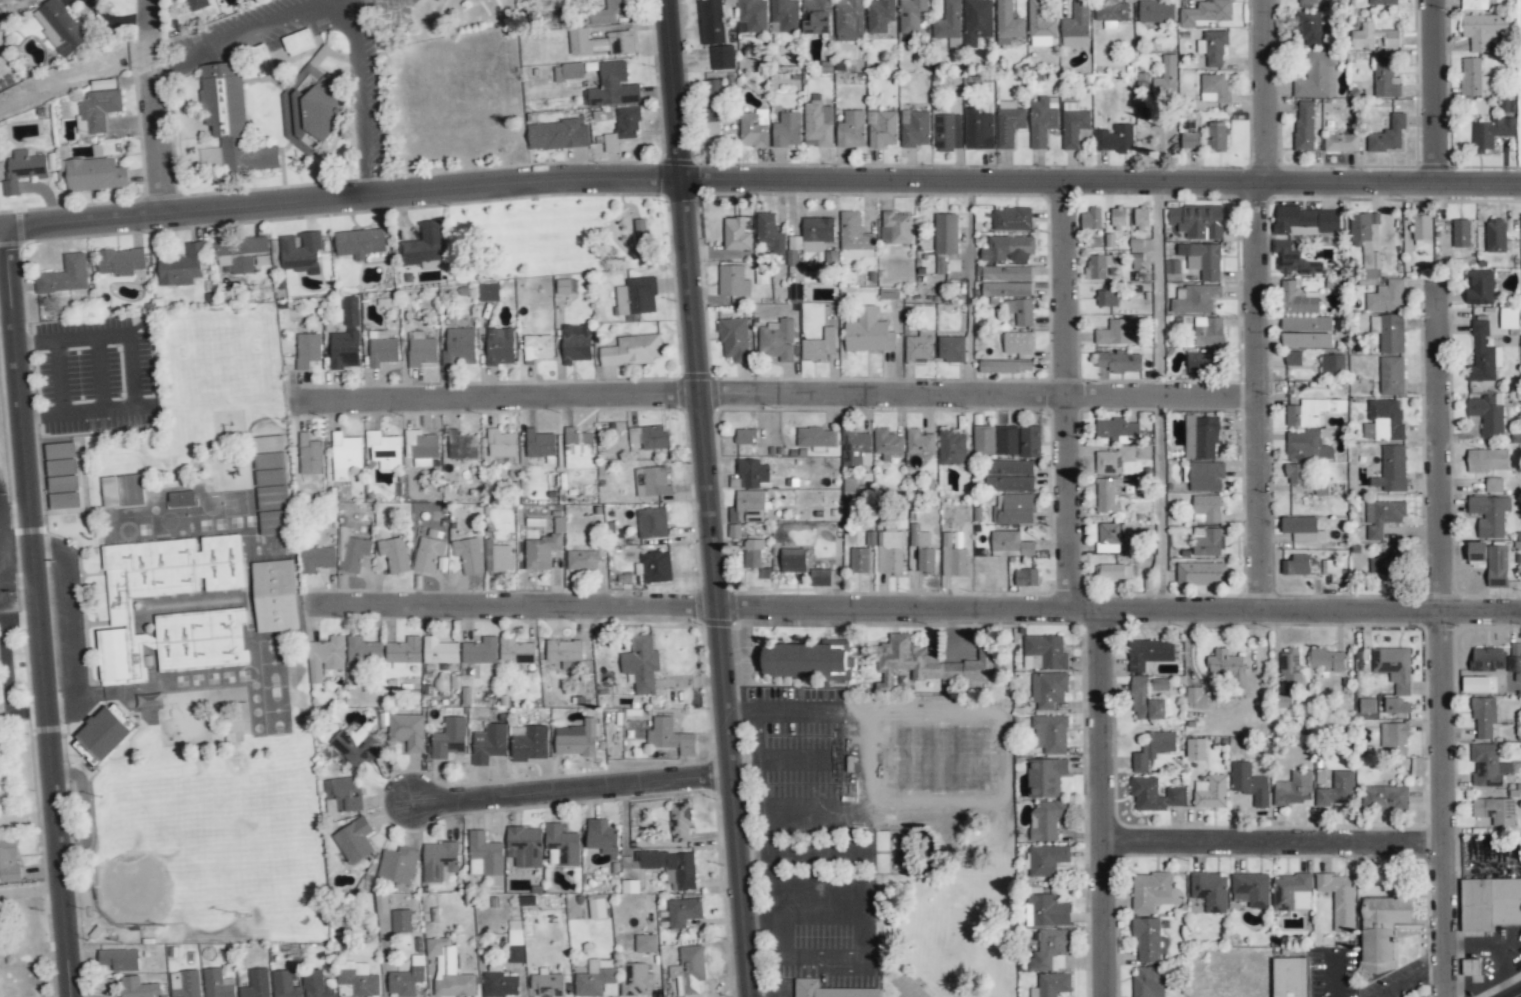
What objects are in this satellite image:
road: (339, 0)
building: (438, 0)
building: (1383, 2)
building: (1306, 3)
building: (197, 4)
building: (1474, 5)
building: (609, 11)
building: (1156, 11)
building: (1110, 12)
building: (1205, 12)
road: (150, 15)
building: (753, 15)
building: (880, 15)
building: (912, 15)
building: (784, 16)
building: (816, 17)
building: (849, 20)
building: (948, 21)
building: (977, 21)
building: (1008, 21)
building: (711, 22)
building: (1040, 25)
building: (1076, 25)
building: (59, 26)
building: (1310, 28)
building: (1483, 30)
building: (1376, 37)
building: (298, 42)
building: (601, 42)
building: (1213, 47)
road: (152, 50)
building: (722, 57)
building: (261, 60)
building: (568, 71)
building: (1317, 76)
building: (1165, 77)
building: (1472, 77)
building: (1385, 78)
building: (612, 87)
building: (1215, 88)
road: (1271, 92)
road: (1440, 93)
building: (312, 106)
building: (712, 106)
building: (98, 109)
building: (231, 119)
building: (1042, 120)
building: (1009, 123)
building: (818, 124)
building: (1073, 124)
building: (1304, 126)
building: (623, 128)
building: (882, 128)
building: (914, 128)
building: (753, 129)
building: (851, 129)
building: (978, 129)
building: (786, 130)
building: (948, 131)
building: (1491, 133)
building: (557, 135)
building: (1388, 135)
building: (1216, 136)
building: (1114, 138)
building: (1189, 140)
road: (161, 141)
building: (1341, 142)
building: (23, 169)
building: (95, 174)
road: (759, 182)
building: (1140, 218)
building: (1012, 219)
building: (1090, 219)
building: (1118, 219)
building: (1197, 221)
building: (1305, 221)
building: (639, 225)
building: (895, 228)
building: (1421, 228)
building: (768, 233)
building: (816, 233)
building: (1461, 233)
building: (735, 234)
building: (1496, 235)
building: (854, 237)
building: (946, 238)
building: (1365, 241)
building: (359, 242)
building: (794, 243)
building: (422, 246)
building: (1008, 249)
building: (300, 252)
building: (239, 253)
building: (1202, 259)
building: (1292, 260)
building: (120, 261)
building: (182, 266)
building: (1096, 266)
building: (1171, 266)
building: (1006, 273)
building: (65, 275)
building: (733, 281)
building: (567, 286)
building: (1480, 287)
building: (1005, 289)
building: (488, 292)
building: (636, 296)
building: (1106, 296)
building: (1386, 297)
building: (1194, 299)
building: (1297, 300)
building: (1509, 318)
building: (1208, 331)
building: (868, 332)
building: (1116, 332)
building: (1306, 332)
building: (1388, 332)
building: (346, 338)
building: (733, 339)
building: (776, 340)
building: (1017, 342)
building: (576, 343)
building: (819, 345)
building: (499, 346)
building: (459, 347)
building: (537, 347)
building: (918, 347)
building: (382, 348)
building: (307, 349)
building: (951, 349)
building: (632, 350)
building: (421, 351)
building: (1482, 354)
building: (1293, 358)
building: (1119, 361)
building: (1203, 361)
building: (1332, 365)
building: (999, 367)
road: (130, 371)
building: (1391, 376)
road: (55, 377)
road: (773, 395)
road: (1066, 396)
road: (1159, 396)
road: (1257, 397)
building: (1310, 412)
building: (1487, 414)
building: (1383, 420)
building: (1117, 430)
building: (744, 436)
building: (649, 437)
building: (1201, 437)
building: (815, 438)
building: (983, 440)
building: (1006, 440)
building: (919, 442)
building: (1030, 442)
building: (501, 443)
building: (539, 443)
building: (887, 444)
building: (461, 445)
building: (1306, 445)
building: (421, 447)
building: (855, 447)
building: (952, 447)
building: (384, 449)
building: (578, 449)
building: (310, 455)
building: (345, 455)
building: (61, 459)
building: (269, 460)
building: (1112, 460)
building: (1487, 460)
building: (1392, 469)
building: (1295, 473)
building: (752, 474)
building: (1008, 475)
building: (1206, 476)
building: (656, 481)
building: (63, 484)
building: (1494, 485)
building: (122, 490)
building: (854, 490)
building: (1105, 495)
building: (272, 498)
road: (710, 498)
building: (181, 499)
building: (64, 500)
building: (748, 507)
building: (1014, 509)
building: (1206, 509)
building: (1490, 514)
building: (1382, 517)
building: (273, 522)
building: (652, 522)
building: (1302, 529)
building: (733, 530)
building: (1108, 537)
building: (1207, 542)
building: (1010, 544)
building: (922, 549)
building: (541, 551)
building: (351, 552)
building: (889, 552)
building: (394, 554)
building: (752, 554)
building: (1476, 554)
building: (428, 555)
building: (468, 555)
building: (498, 557)
building: (316, 558)
building: (584, 558)
building: (952, 558)
building: (792, 560)
building: (859, 560)
building: (1296, 565)
building: (1386, 568)
building: (1115, 571)
building: (1201, 573)
building: (820, 577)
building: (1026, 577)
building: (275, 596)
road: (913, 608)
building: (220, 611)
road: (71, 628)
road: (32, 633)
road: (1442, 646)
building: (363, 650)
building: (403, 650)
building: (439, 651)
building: (480, 651)
building: (515, 651)
building: (1044, 653)
building: (1148, 654)
building: (564, 655)
building: (325, 657)
building: (1514, 657)
building: (1488, 659)
building: (1327, 660)
building: (926, 663)
building: (641, 664)
building: (1227, 667)
building: (1290, 667)
building: (1393, 667)
building: (1475, 684)
building: (1048, 689)
building: (1195, 698)
building: (1283, 700)
building: (1145, 702)
building: (1367, 705)
building: (1397, 706)
road: (797, 708)
building: (1484, 717)
building: (106, 730)
building: (407, 731)
building: (1050, 734)
building: (670, 737)
building: (1393, 737)
building: (449, 738)
building: (576, 739)
building: (489, 743)
building: (530, 744)
building: (356, 746)
building: (1153, 748)
building: (1195, 749)
road: (810, 761)
building: (1487, 766)
building: (1045, 777)
building: (1249, 783)
building: (1293, 789)
building: (1337, 789)
road: (571, 790)
building: (1210, 792)
building: (342, 794)
building: (1154, 794)
building: (1385, 798)
road: (1102, 803)
building: (1495, 810)
road: (762, 811)
road: (813, 812)
building: (1046, 819)
building: (679, 822)
building: (602, 836)
building: (354, 840)
road: (1273, 843)
building: (562, 844)
building: (524, 846)
park: (206, 849)
building: (484, 855)
building: (1046, 860)
building: (9, 861)
building: (439, 861)
building: (398, 865)
building: (671, 867)
building: (629, 886)
building: (1251, 889)
building: (1210, 890)
road: (27, 891)
building: (1151, 892)
building: (1291, 892)
building: (1339, 899)
building: (1490, 903)
building: (596, 906)
road: (831, 909)
building: (1049, 911)
building: (683, 912)
building: (401, 921)
building: (1381, 930)
road: (783, 937)
building: (515, 941)
building: (1148, 941)
building: (645, 943)
building: (1050, 950)
building: (119, 959)
road: (827, 960)
building: (1470, 967)
building: (448, 969)
building: (688, 970)
road: (1332, 976)
building: (407, 977)
building: (1290, 977)
road: (1409, 978)
building: (357, 979)
building: (597, 979)
building: (635, 979)
building: (1148, 982)
building: (185, 984)
building: (217, 984)
building: (256, 984)
building: (547, 984)
building: (284, 985)
building: (317, 985)
building: (500, 985)
building: (1051, 985)
building: (137, 987)
building: (829, 990)
road: (1445, 996)

